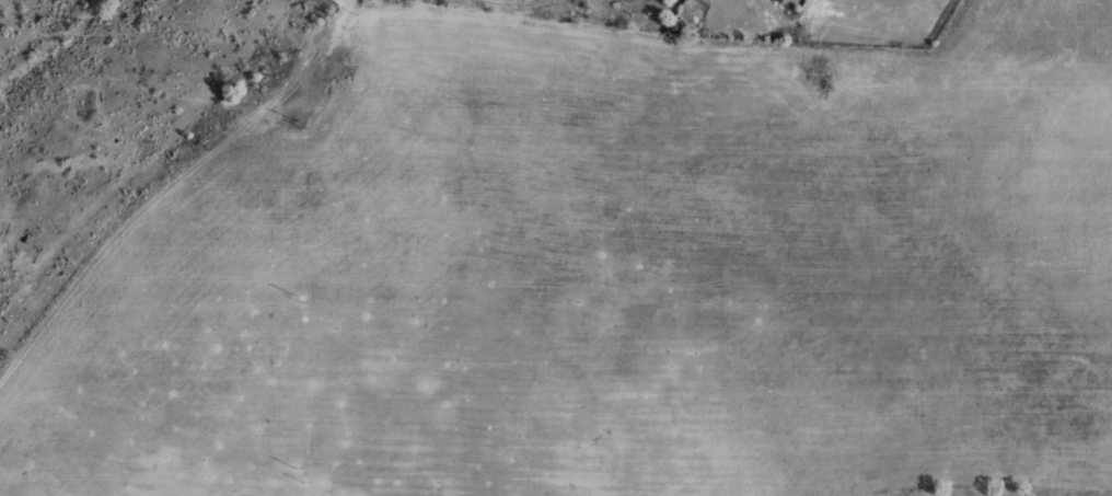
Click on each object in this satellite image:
building: (774, 0)
building: (777, 0)
road: (348, 2)
road: (351, 2)
road: (170, 185)

